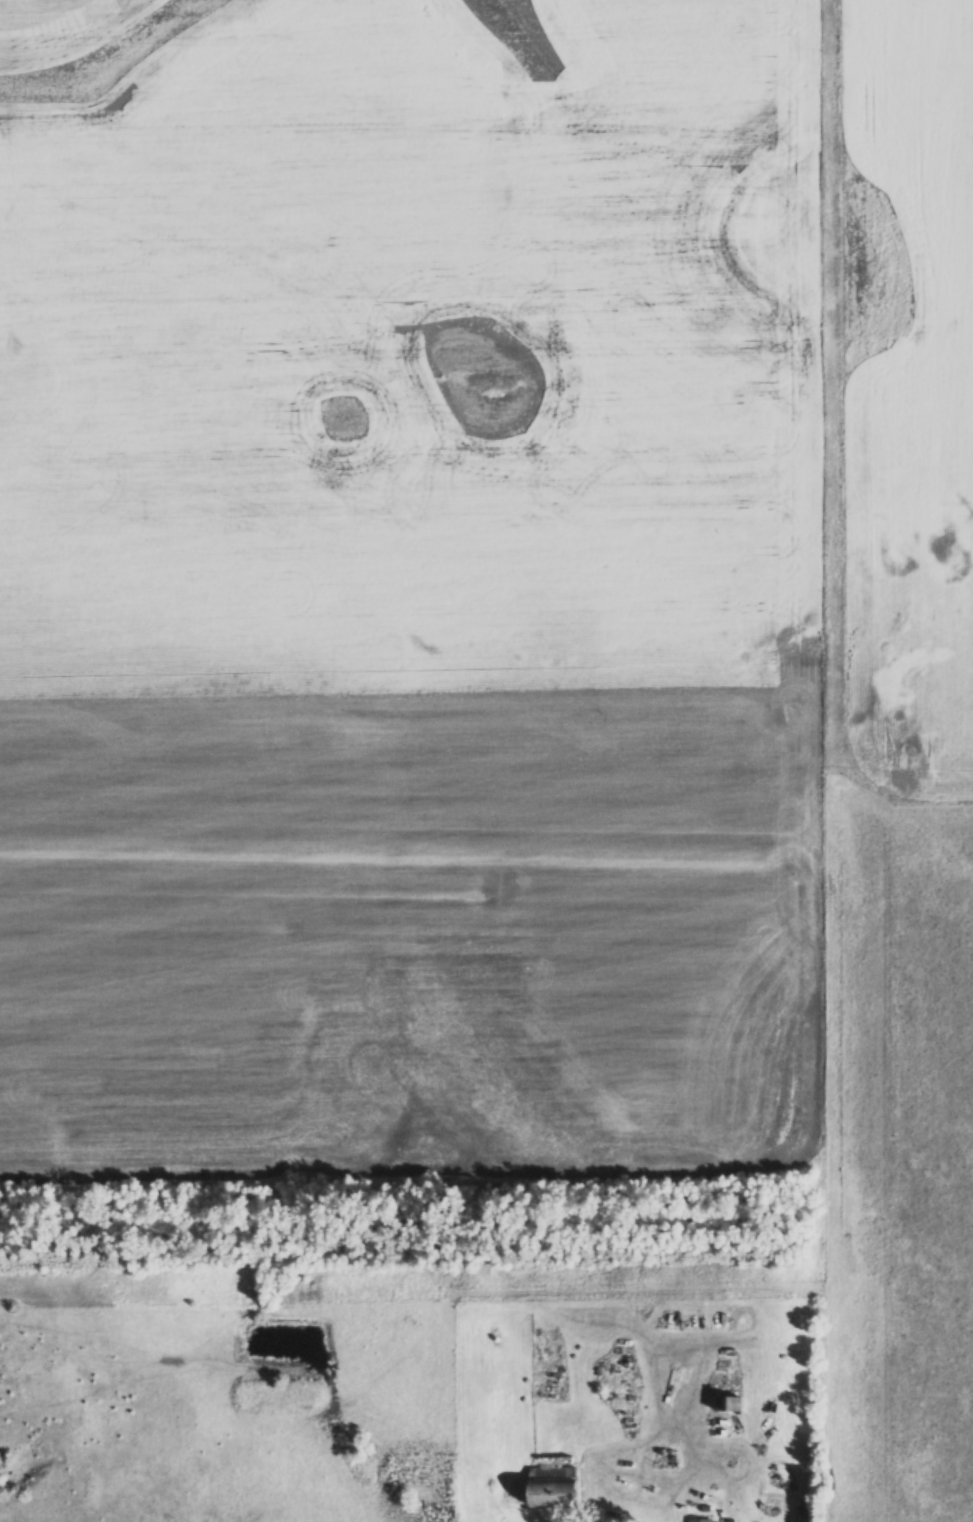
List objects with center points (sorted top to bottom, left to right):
building: (730, 1403)
building: (551, 1479)
building: (698, 1520)

